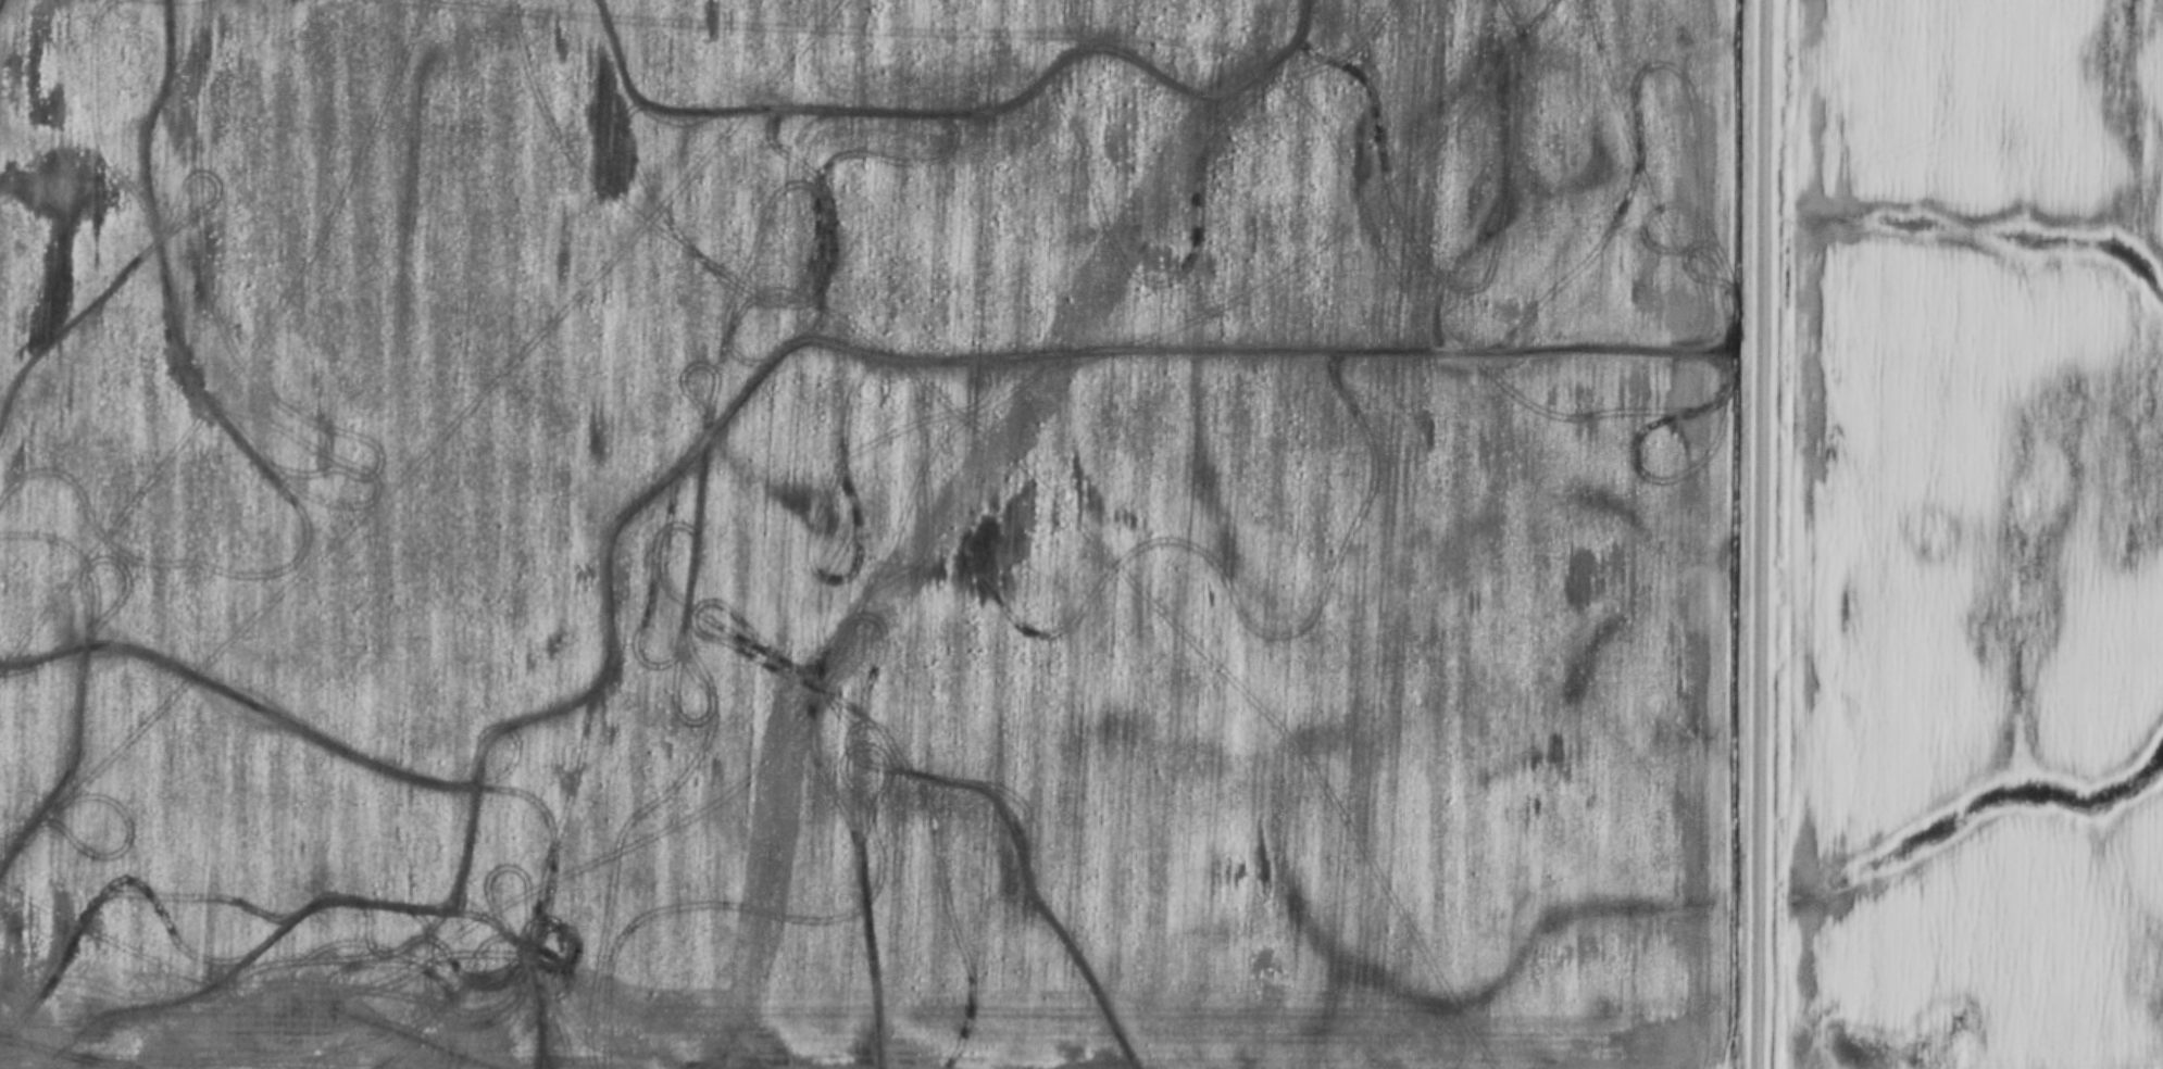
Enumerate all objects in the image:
road: (1765, 534)

